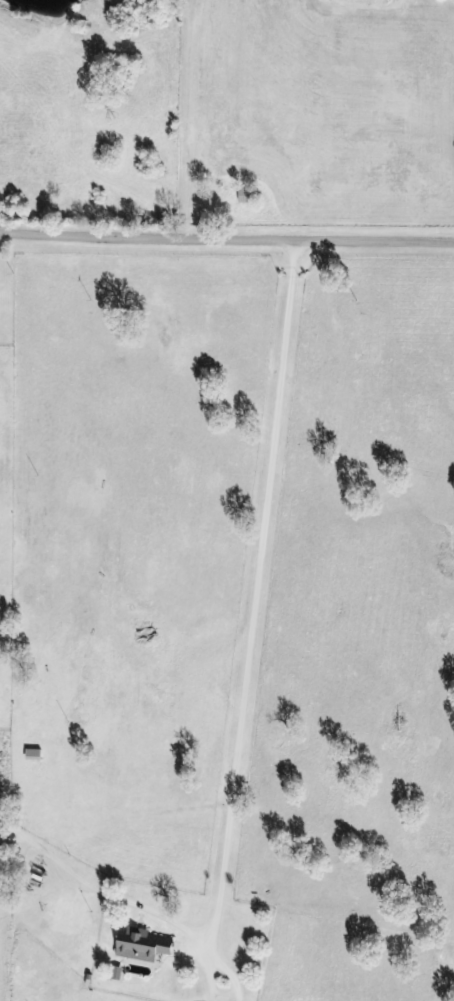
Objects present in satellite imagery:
road: (226, 241)
building: (143, 947)

